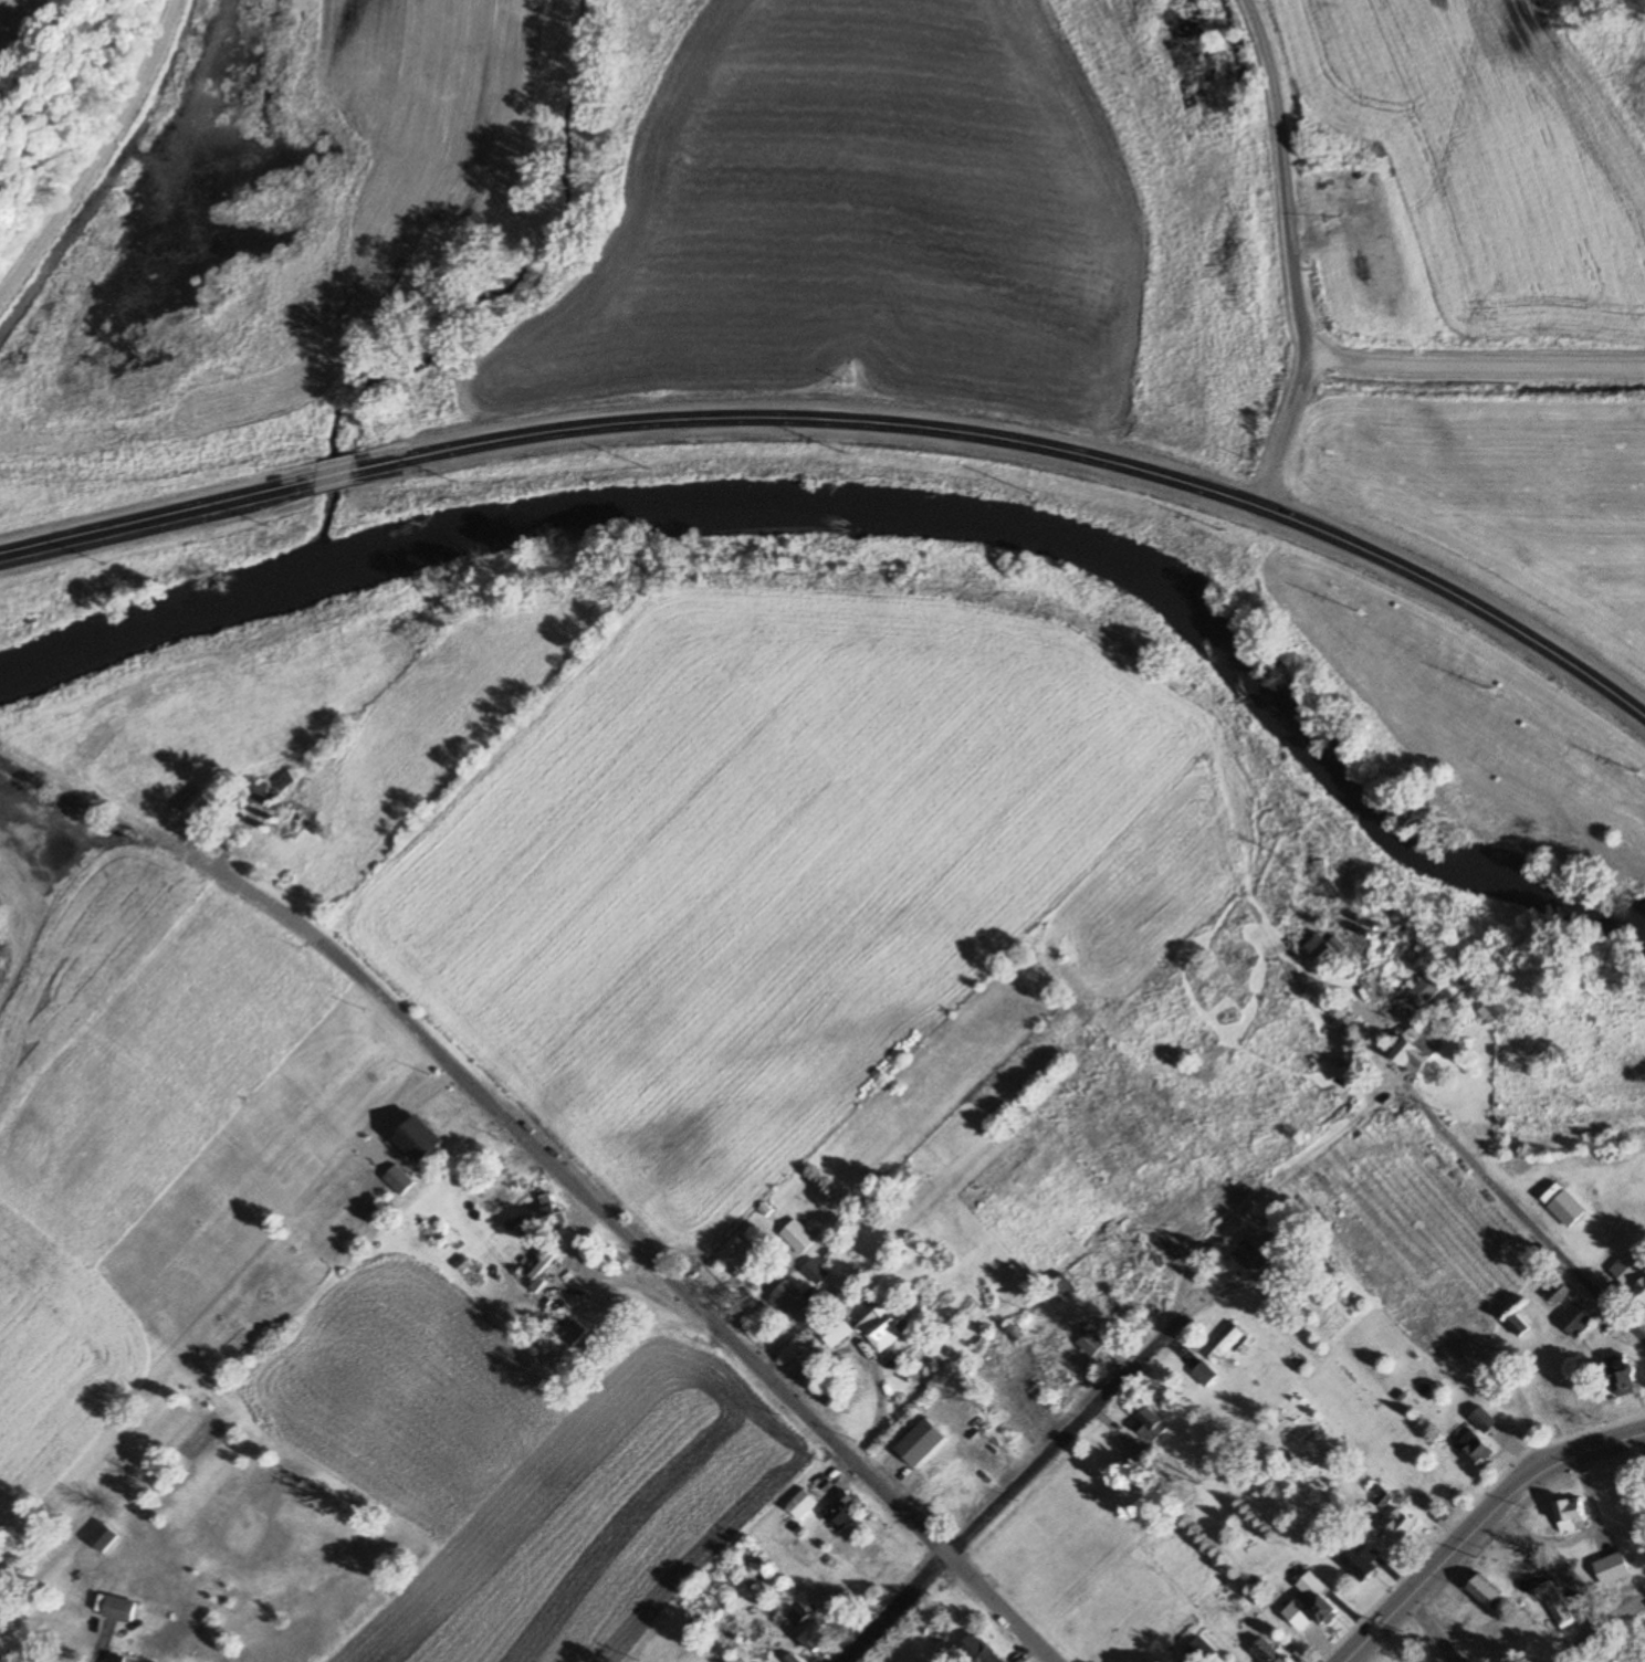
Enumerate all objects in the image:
road: (97, 156)
road: (1297, 256)
road: (1478, 368)
road: (1030, 451)
road: (339, 475)
river: (883, 511)
road: (158, 517)
building: (285, 780)
building: (255, 793)
building: (202, 807)
building: (1321, 949)
building: (1425, 990)
building: (1416, 1049)
building: (418, 1139)
building: (398, 1179)
road: (1515, 1200)
building: (1567, 1208)
building: (542, 1217)
building: (797, 1237)
road: (630, 1246)
building: (1248, 1254)
building: (741, 1256)
building: (1630, 1265)
building: (547, 1270)
building: (815, 1271)
building: (1060, 1286)
building: (1558, 1292)
building: (1639, 1293)
building: (788, 1301)
building: (1575, 1318)
building: (1517, 1325)
building: (882, 1326)
building: (574, 1332)
building: (835, 1332)
building: (1089, 1343)
building: (1224, 1345)
building: (549, 1346)
building: (1202, 1375)
building: (1623, 1375)
building: (1484, 1420)
building: (1149, 1426)
building: (1474, 1449)
road: (1019, 1476)
building: (952, 1498)
building: (800, 1505)
building: (839, 1511)
building: (1571, 1515)
road: (1477, 1523)
building: (1400, 1526)
building: (104, 1536)
building: (1361, 1559)
building: (1612, 1567)
building: (1484, 1592)
building: (1317, 1599)
building: (1553, 1602)
building: (119, 1607)
building: (1490, 1628)
road: (1602, 1628)
road: (1429, 1629)
building: (816, 1634)
building: (976, 1650)
building: (1199, 1650)
building: (1266, 1652)
building: (116, 1658)
building: (790, 1658)

